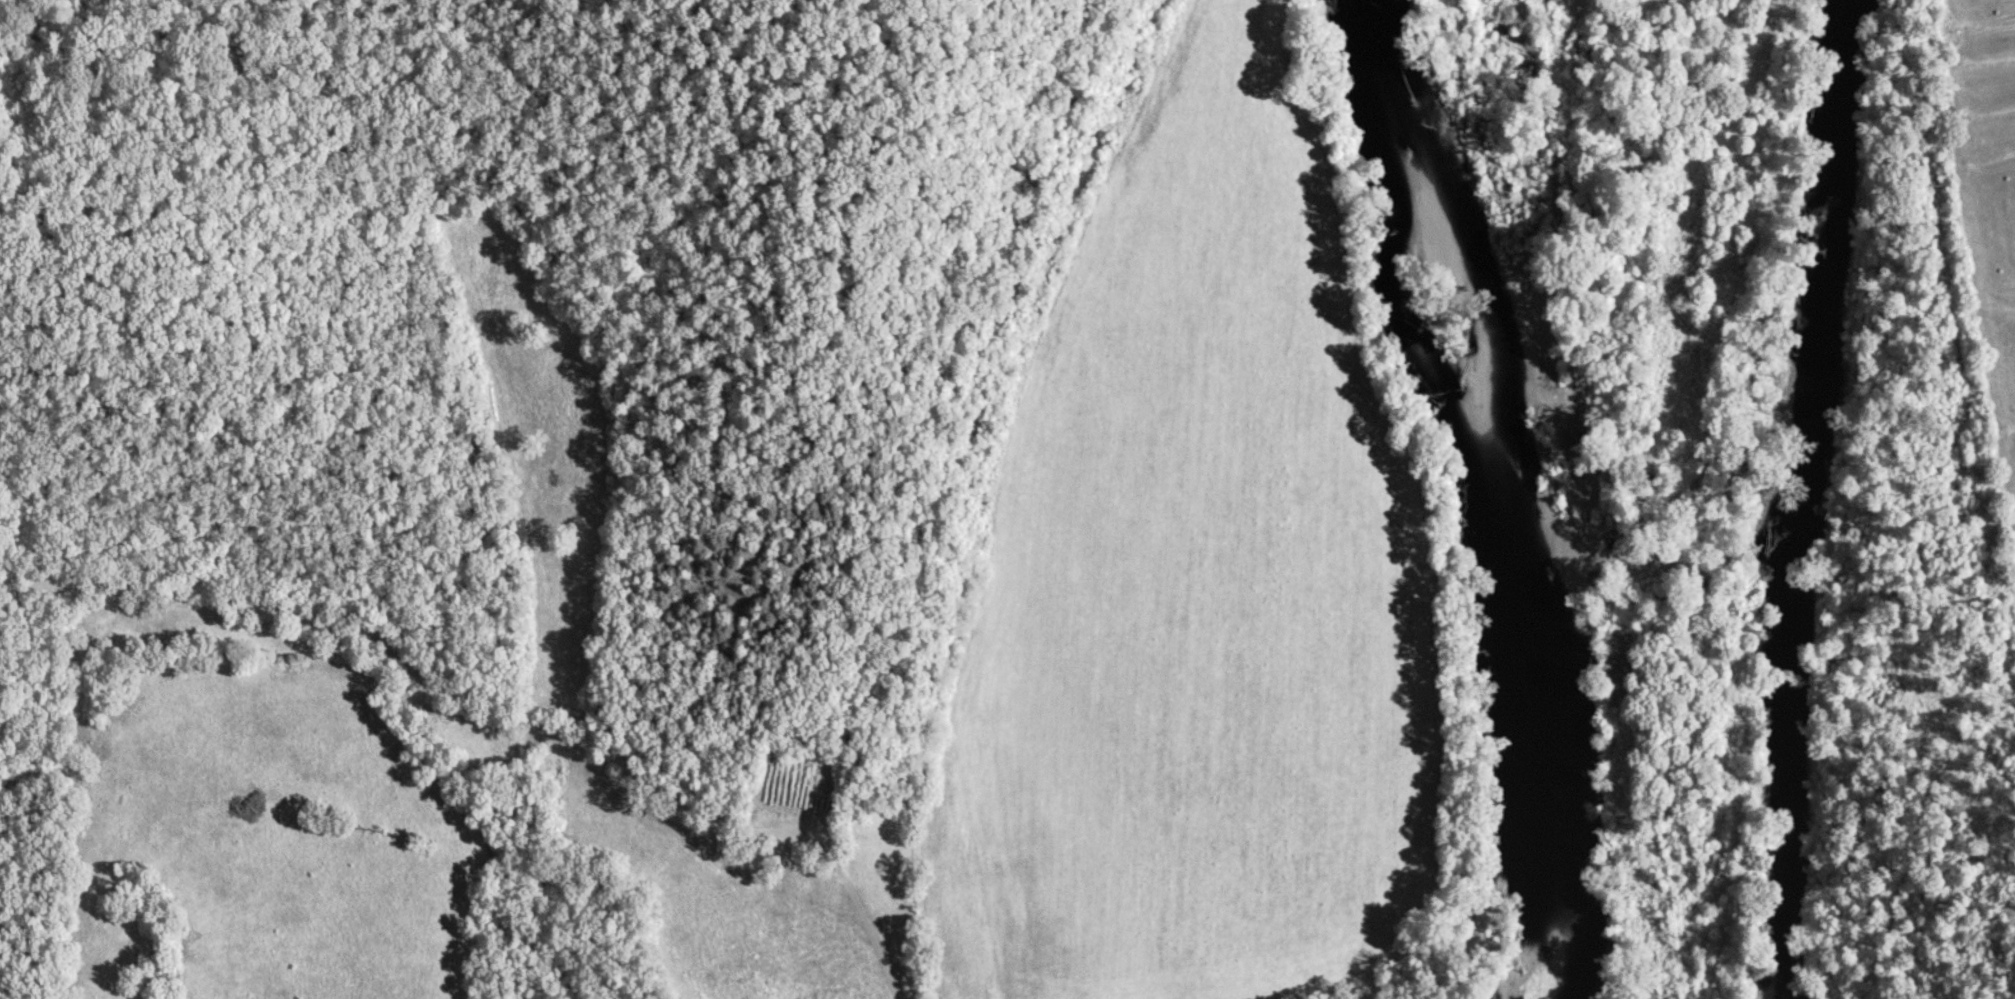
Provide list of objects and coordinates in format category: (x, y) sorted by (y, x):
river: (1494, 496)
road: (511, 693)

